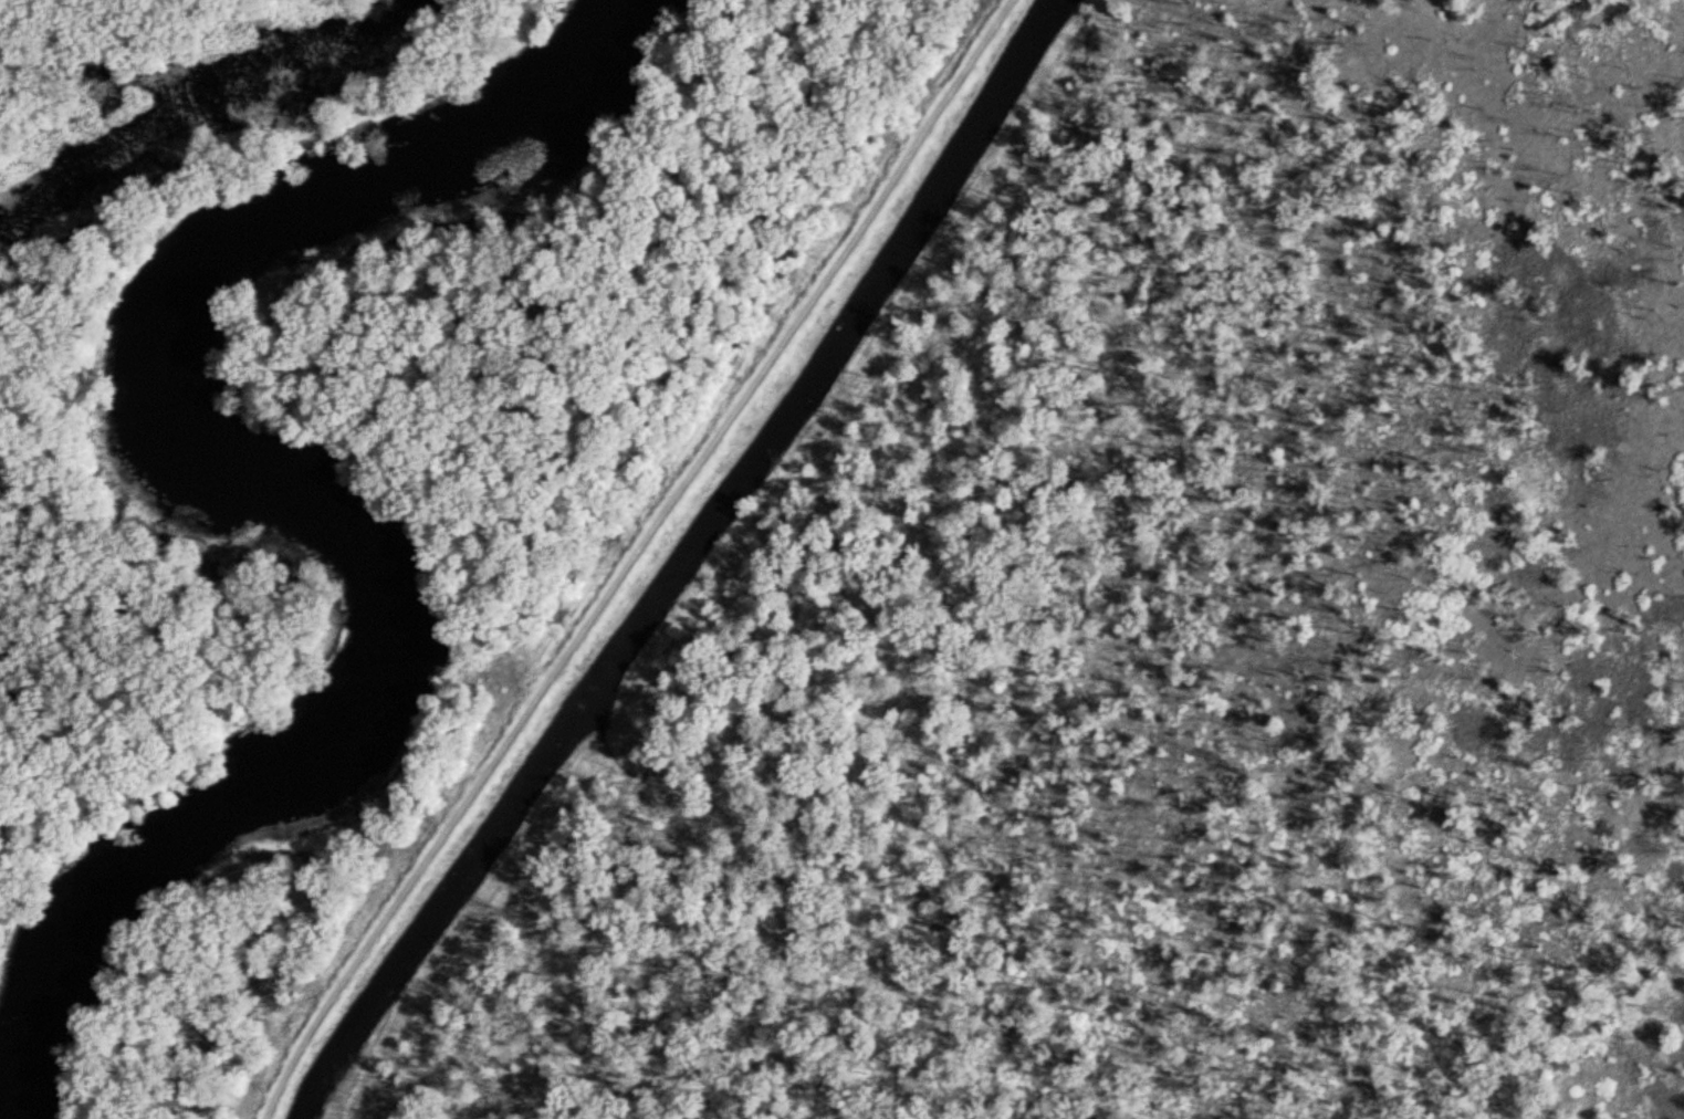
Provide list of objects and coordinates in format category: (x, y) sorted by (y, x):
river: (307, 529)
road: (623, 554)

